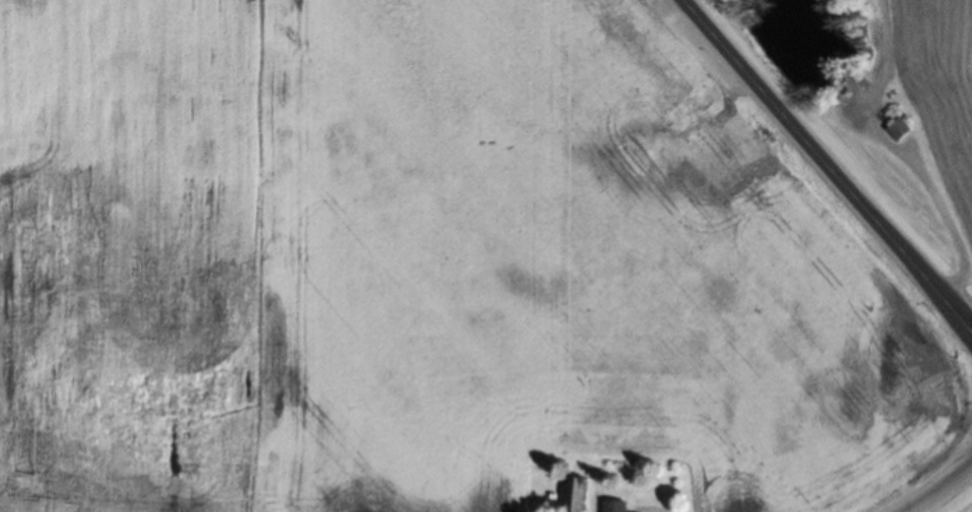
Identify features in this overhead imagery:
building: (897, 129)
road: (826, 166)
road: (953, 222)
road: (936, 487)
building: (572, 494)
building: (611, 506)

